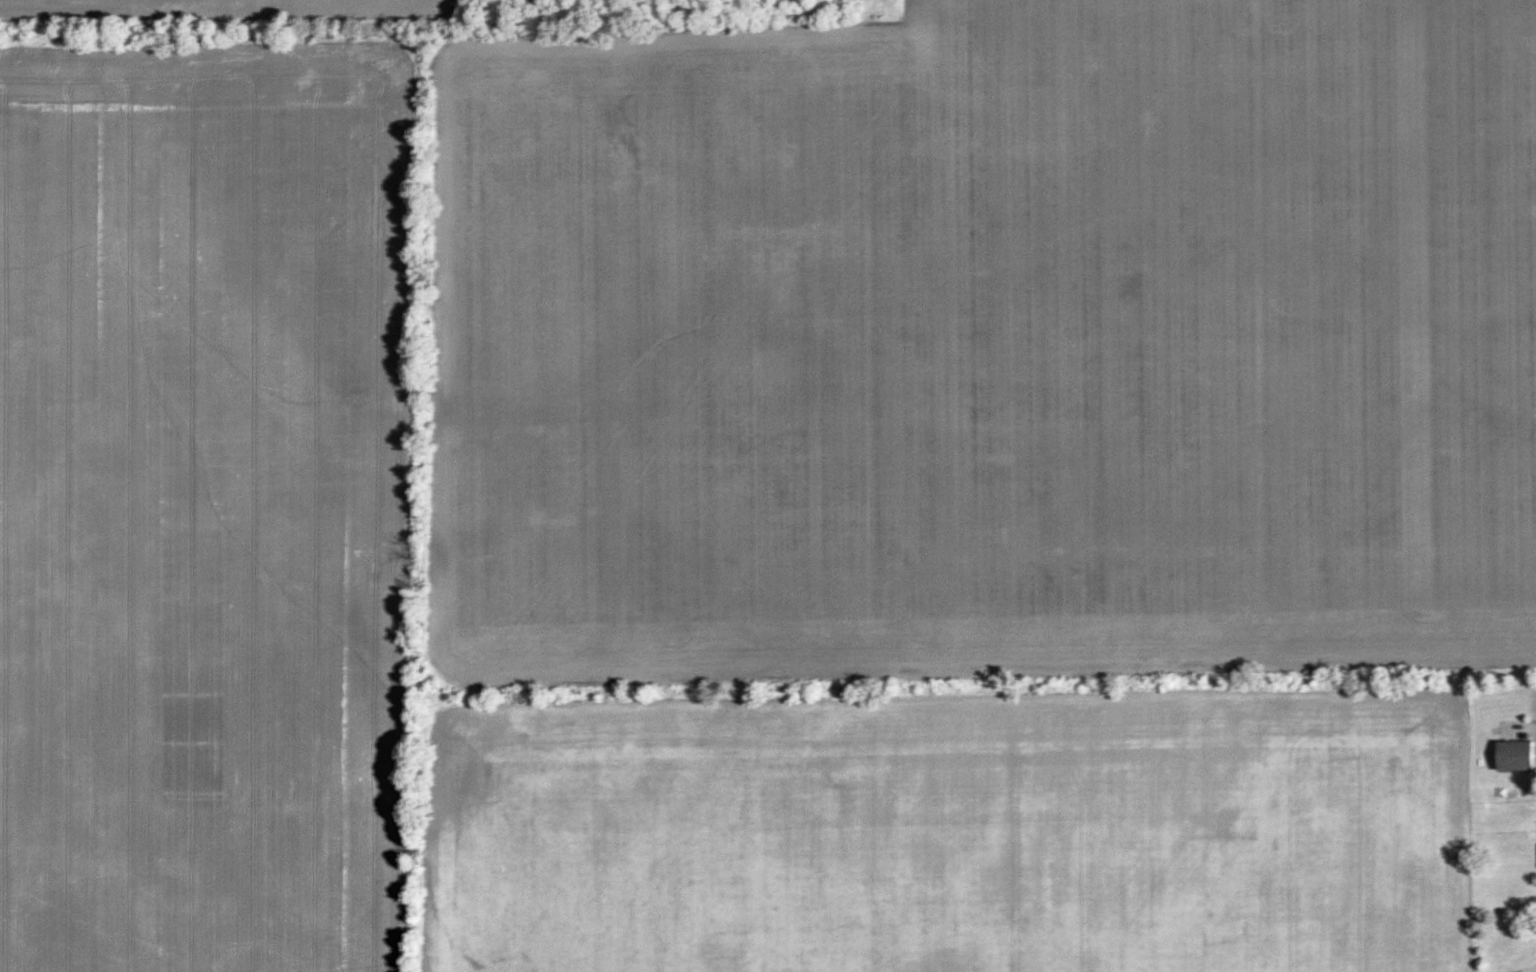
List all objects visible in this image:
building: (1512, 755)

